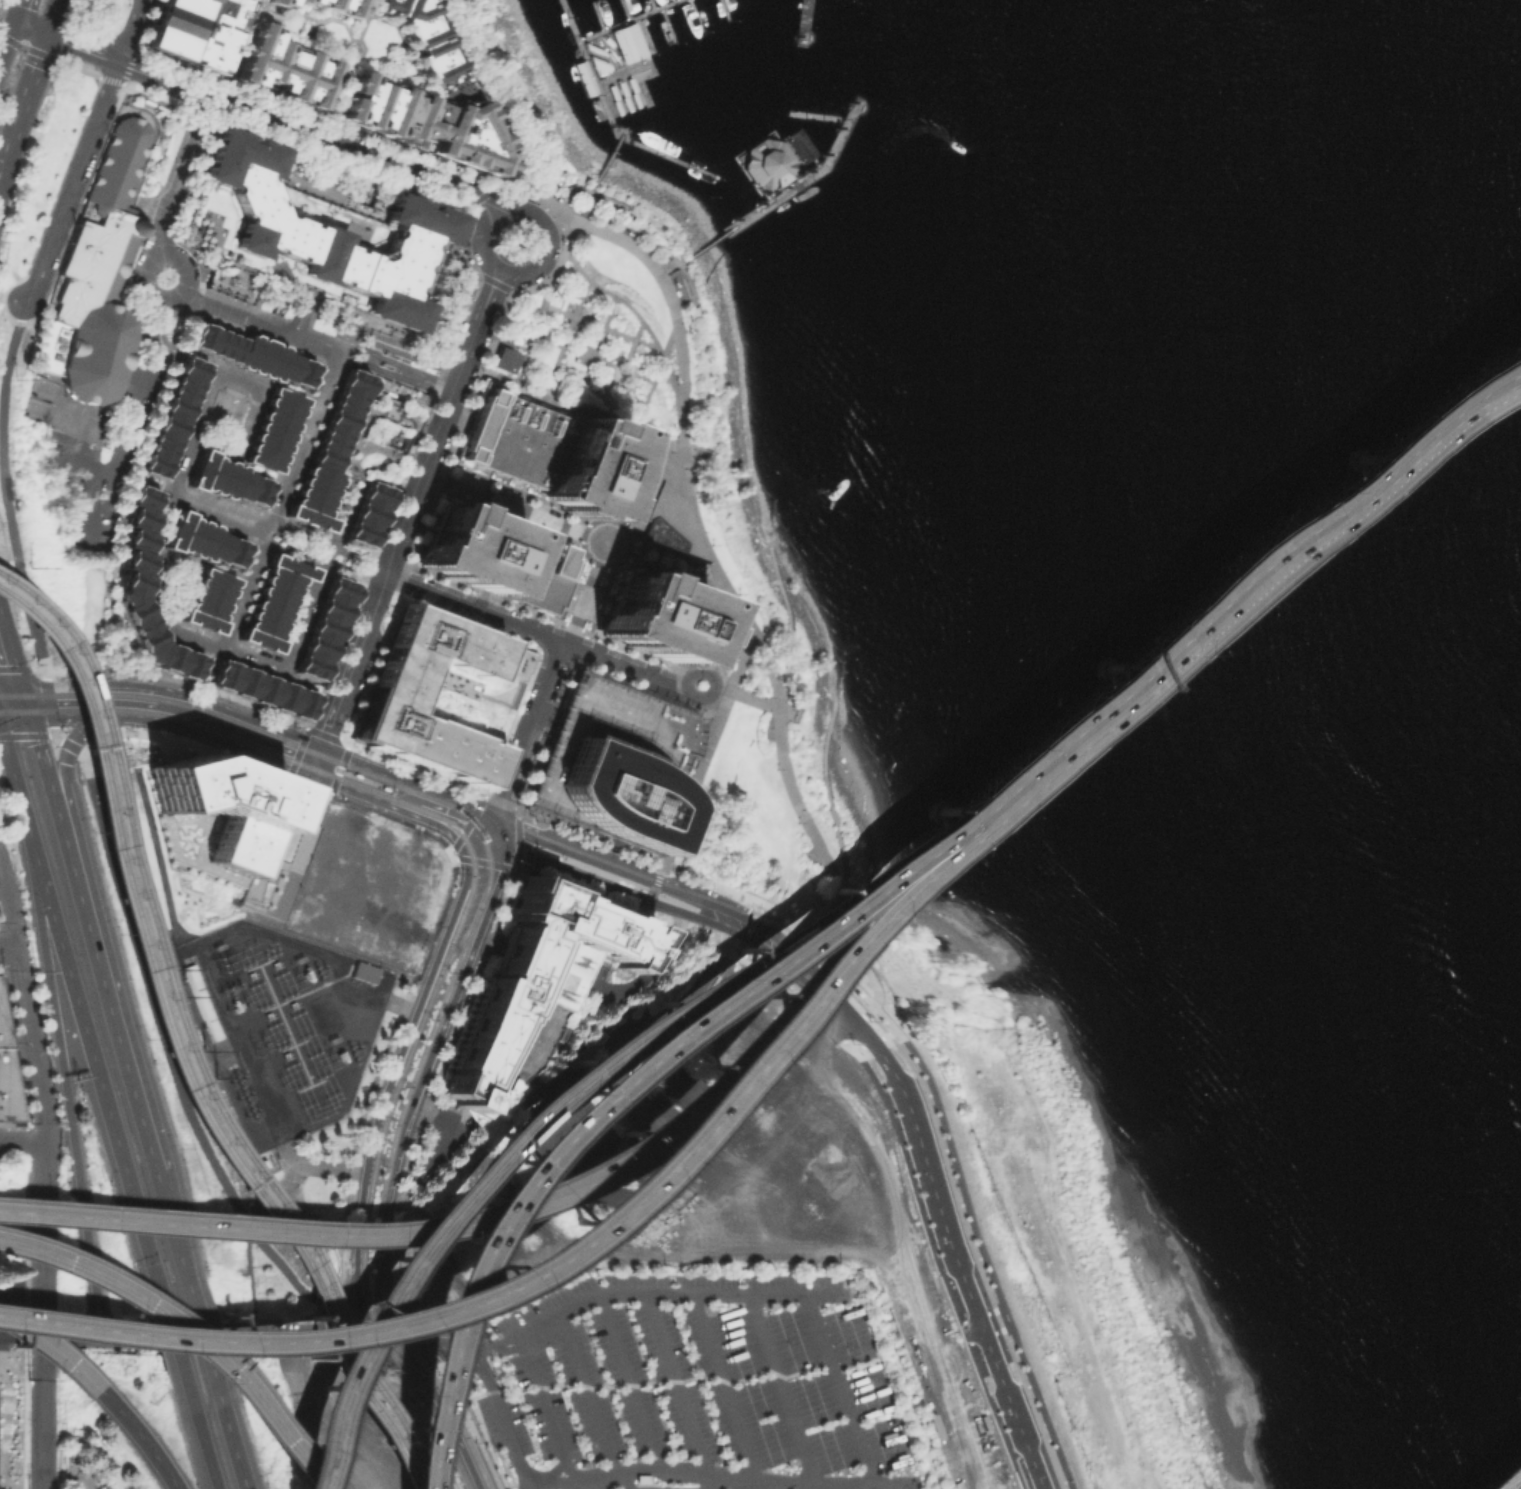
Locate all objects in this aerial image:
building: (282, 2)
road: (2, 5)
building: (338, 5)
pier: (727, 10)
road: (20, 12)
road: (303, 13)
pier: (698, 15)
pier: (638, 16)
pier: (571, 18)
road: (366, 19)
pier: (807, 24)
traffic signals: (14, 25)
building: (171, 26)
road: (31, 31)
road: (129, 32)
building: (211, 34)
road: (355, 36)
building: (425, 36)
traffic signals: (48, 37)
road: (6, 41)
road: (402, 41)
building: (628, 42)
road: (27, 47)
building: (594, 48)
road: (82, 50)
building: (599, 64)
road: (78, 66)
road: (129, 66)
building: (285, 67)
pier: (617, 71)
road: (49, 74)
road: (224, 77)
building: (585, 77)
road: (109, 79)
building: (631, 83)
road: (122, 84)
road: (30, 85)
building: (622, 87)
road: (340, 89)
building: (613, 91)
road: (480, 94)
building: (635, 99)
building: (627, 102)
building: (618, 106)
building: (428, 118)
road: (337, 124)
park: (557, 129)
road: (298, 131)
pier: (656, 149)
road: (325, 159)
road: (608, 160)
pier: (789, 163)
pier: (790, 163)
building: (767, 164)
road: (510, 174)
road: (181, 177)
road: (73, 183)
road: (576, 186)
road: (564, 189)
building: (256, 196)
road: (540, 199)
road: (604, 206)
road: (549, 218)
road: (560, 228)
road: (545, 231)
road: (482, 237)
road: (710, 243)
building: (388, 259)
road: (677, 261)
road: (183, 267)
road: (477, 274)
building: (97, 277)
road: (494, 282)
road: (534, 286)
road: (149, 288)
road: (509, 290)
road: (687, 292)
road: (303, 313)
road: (539, 315)
road: (639, 318)
road: (13, 319)
road: (605, 322)
road: (258, 323)
road: (601, 325)
building: (508, 327)
road: (493, 329)
road: (566, 337)
road: (634, 340)
road: (552, 342)
road: (509, 343)
road: (8, 354)
building: (252, 354)
building: (504, 358)
road: (601, 362)
road: (638, 364)
road: (407, 372)
road: (655, 375)
road: (644, 377)
road: (585, 378)
road: (562, 380)
road: (570, 403)
road: (633, 406)
road: (202, 409)
road: (608, 410)
building: (171, 417)
road: (128, 429)
building: (274, 430)
building: (381, 433)
building: (327, 452)
building: (544, 452)
road: (1408, 453)
road: (124, 471)
building: (226, 479)
road: (391, 482)
road: (157, 486)
road: (625, 486)
road: (393, 501)
river: (1281, 501)
road: (513, 506)
building: (661, 507)
road: (88, 510)
road: (406, 510)
building: (367, 513)
parking lot: (88, 524)
road: (160, 527)
building: (204, 541)
road: (699, 541)
road: (329, 545)
road: (118, 547)
park: (710, 554)
road: (16, 557)
road: (410, 557)
building: (493, 558)
road: (321, 561)
road: (658, 568)
road: (222, 570)
building: (134, 584)
road: (604, 590)
road: (585, 593)
road: (485, 595)
building: (209, 601)
building: (274, 603)
road: (240, 606)
road: (473, 607)
road: (1224, 607)
road: (308, 608)
building: (661, 620)
road: (790, 621)
road: (467, 623)
road: (571, 625)
building: (325, 630)
road: (584, 630)
road: (585, 633)
road: (11, 647)
road: (634, 651)
road: (207, 665)
road: (623, 665)
road: (20, 668)
road: (109, 668)
road: (42, 672)
road: (297, 678)
road: (177, 679)
road: (713, 684)
road: (676, 686)
road: (644, 689)
road: (721, 689)
road: (1132, 689)
road: (328, 690)
road: (111, 691)
building: (263, 691)
road: (12, 692)
traffic signals: (24, 692)
building: (444, 694)
road: (48, 701)
road: (753, 701)
road: (26, 703)
road: (685, 703)
road: (15, 714)
traffic signals: (30, 714)
road: (512, 722)
road: (89, 725)
road: (306, 727)
road: (529, 730)
road: (54, 733)
road: (51, 735)
road: (213, 735)
road: (302, 735)
road: (23, 736)
road: (541, 738)
road: (65, 742)
road: (73, 747)
traffic signals: (317, 750)
road: (705, 753)
road: (341, 755)
road: (42, 760)
building: (614, 760)
road: (313, 761)
road: (346, 761)
road: (411, 765)
road: (336, 769)
road: (340, 770)
railway: (344, 771)
traffic signals: (309, 772)
road: (265, 773)
road: (63, 776)
road: (285, 777)
road: (332, 781)
railway: (389, 789)
road: (827, 789)
road: (17, 790)
road: (328, 793)
road: (484, 794)
building: (219, 804)
road: (475, 808)
traffic signals: (495, 818)
road: (437, 819)
road: (491, 829)
road: (499, 831)
road: (588, 834)
road: (516, 839)
traffic signals: (487, 840)
road: (494, 843)
road: (947, 844)
traffic signals: (501, 846)
road: (954, 848)
road: (447, 854)
road: (483, 862)
road: (614, 863)
road: (517, 865)
road: (916, 866)
road: (513, 868)
road: (923, 872)
building: (417, 876)
road: (612, 887)
road: (579, 889)
road: (652, 890)
road: (799, 910)
road: (644, 911)
railway: (475, 921)
road: (817, 928)
railway: (456, 932)
railway: (461, 943)
road: (894, 946)
road: (816, 949)
road: (6, 951)
road: (751, 953)
road: (461, 969)
building: (363, 971)
road: (104, 989)
building: (534, 993)
road: (77, 1000)
road: (24, 1012)
road: (890, 1014)
power substation: (282, 1023)
road: (859, 1024)
road: (853, 1028)
road: (910, 1032)
road: (904, 1035)
road: (898, 1038)
railway: (184, 1042)
road: (410, 1042)
road: (888, 1043)
road: (174, 1050)
road: (868, 1050)
railway: (175, 1052)
road: (382, 1067)
building: (7, 1075)
road: (66, 1094)
road: (431, 1098)
road: (592, 1117)
road: (540, 1119)
road: (22, 1142)
road: (129, 1186)
road: (910, 1188)
road: (393, 1211)
road: (521, 1212)
traffic signals: (139, 1220)
road: (170, 1230)
road: (43, 1237)
road: (978, 1249)
road: (970, 1252)
road: (148, 1253)
road: (953, 1256)
road: (541, 1258)
road: (363, 1264)
road: (373, 1264)
road: (249, 1276)
road: (353, 1286)
road: (352, 1305)
road: (385, 1308)
road: (151, 1309)
road: (358, 1310)
road: (818, 1327)
road: (968, 1328)
road: (963, 1331)
traffic signals: (408, 1332)
road: (171, 1333)
road: (185, 1333)
road: (369, 1333)
road: (201, 1337)
road: (371, 1339)
traffic signals: (414, 1344)
road: (440, 1346)
road: (436, 1348)
road: (495, 1348)
road: (400, 1349)
road: (52, 1350)
road: (388, 1360)
road: (394, 1371)
road: (410, 1371)
road: (628, 1385)
road: (674, 1388)
parking lot: (697, 1388)
road: (721, 1389)
road: (779, 1389)
road: (587, 1398)
road: (40, 1410)
road: (444, 1410)
road: (545, 1410)
power substation: (10, 1411)
road: (990, 1415)
road: (469, 1424)
road: (429, 1430)
road: (504, 1430)
road: (413, 1435)
road: (140, 1437)
road: (203, 1437)
road: (231, 1438)
road: (296, 1455)
road: (662, 1471)
road: (519, 1479)
road: (591, 1480)
road: (1511, 1480)
road: (528, 1483)
road: (621, 1484)
road: (703, 1486)
road: (90, 1487)

